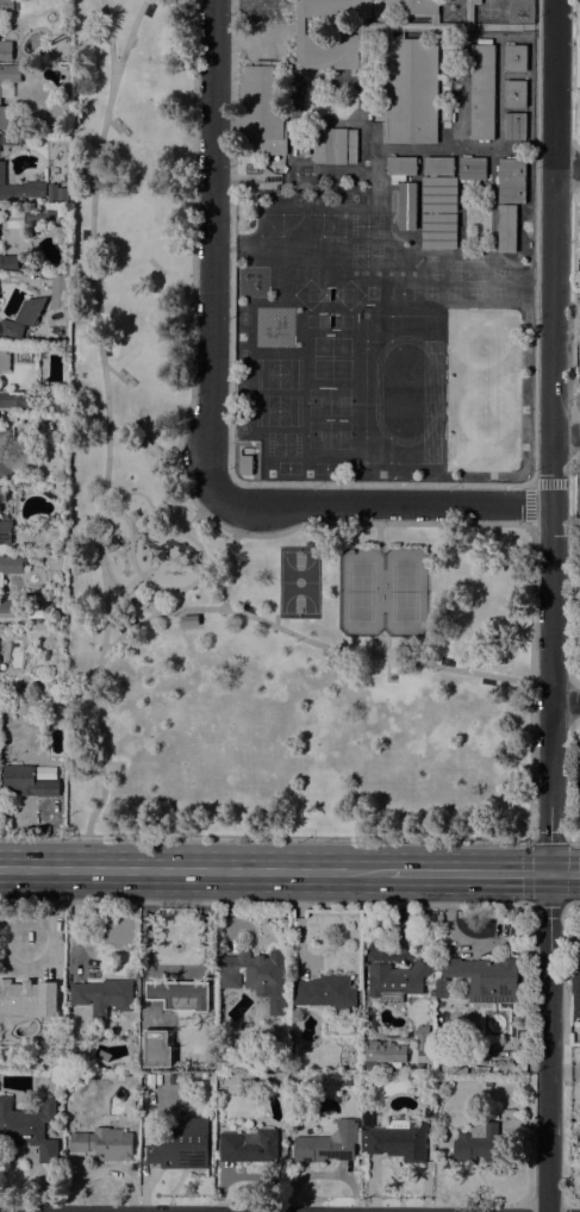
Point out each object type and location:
building: (475, 1)
building: (6, 6)
building: (411, 7)
building: (337, 8)
building: (410, 29)
road: (107, 36)
building: (295, 40)
building: (6, 51)
building: (330, 51)
building: (514, 58)
building: (10, 74)
building: (410, 92)
building: (481, 92)
building: (514, 93)
building: (262, 108)
building: (5, 118)
building: (514, 125)
building: (335, 145)
building: (304, 149)
building: (400, 165)
building: (437, 165)
road: (566, 165)
building: (472, 168)
building: (511, 180)
building: (19, 187)
building: (63, 193)
building: (438, 194)
building: (52, 195)
building: (406, 206)
building: (506, 229)
building: (438, 231)
building: (579, 243)
road: (212, 248)
building: (8, 261)
road: (191, 280)
building: (156, 290)
building: (60, 292)
building: (21, 319)
building: (5, 360)
building: (579, 364)
building: (14, 399)
building: (58, 399)
road: (106, 418)
building: (5, 435)
road: (566, 435)
building: (245, 464)
building: (5, 470)
road: (382, 482)
building: (56, 491)
road: (130, 493)
building: (579, 494)
road: (381, 505)
road: (529, 505)
road: (113, 511)
road: (198, 513)
building: (5, 530)
road: (530, 533)
park: (243, 550)
road: (229, 557)
building: (10, 567)
road: (198, 579)
road: (212, 581)
park: (298, 581)
building: (579, 582)
road: (130, 583)
park: (381, 591)
road: (129, 599)
road: (181, 600)
road: (550, 605)
building: (10, 608)
building: (60, 618)
building: (189, 620)
building: (579, 627)
building: (579, 638)
road: (318, 645)
building: (38, 693)
road: (566, 702)
building: (45, 724)
building: (578, 767)
building: (27, 781)
road: (264, 838)
road: (568, 838)
road: (575, 838)
road: (194, 871)
road: (468, 873)
traffic signals: (549, 874)
road: (563, 874)
road: (573, 907)
road: (176, 968)
building: (258, 975)
building: (485, 977)
building: (394, 981)
building: (575, 981)
building: (441, 988)
building: (325, 993)
building: (179, 994)
building: (101, 995)
building: (29, 998)
building: (422, 1039)
building: (156, 1049)
building: (383, 1054)
building: (52, 1061)
building: (218, 1075)
building: (345, 1082)
building: (29, 1126)
building: (395, 1138)
building: (104, 1143)
building: (330, 1143)
building: (481, 1143)
building: (182, 1144)
building: (249, 1145)

